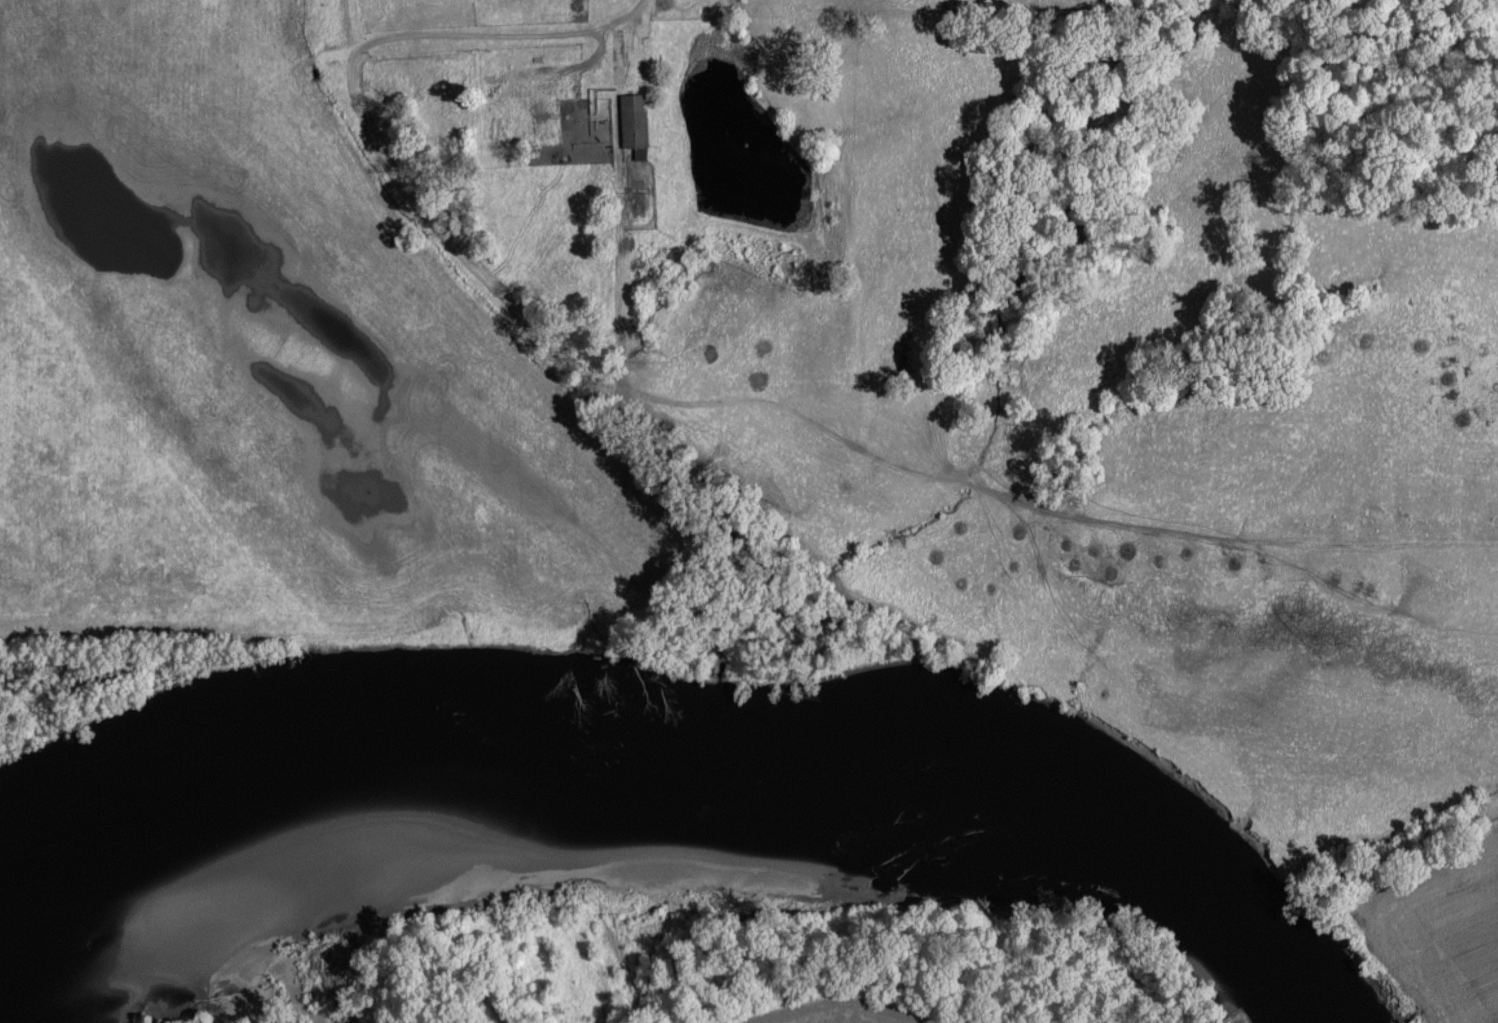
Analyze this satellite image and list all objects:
building: (633, 123)
river: (704, 767)

